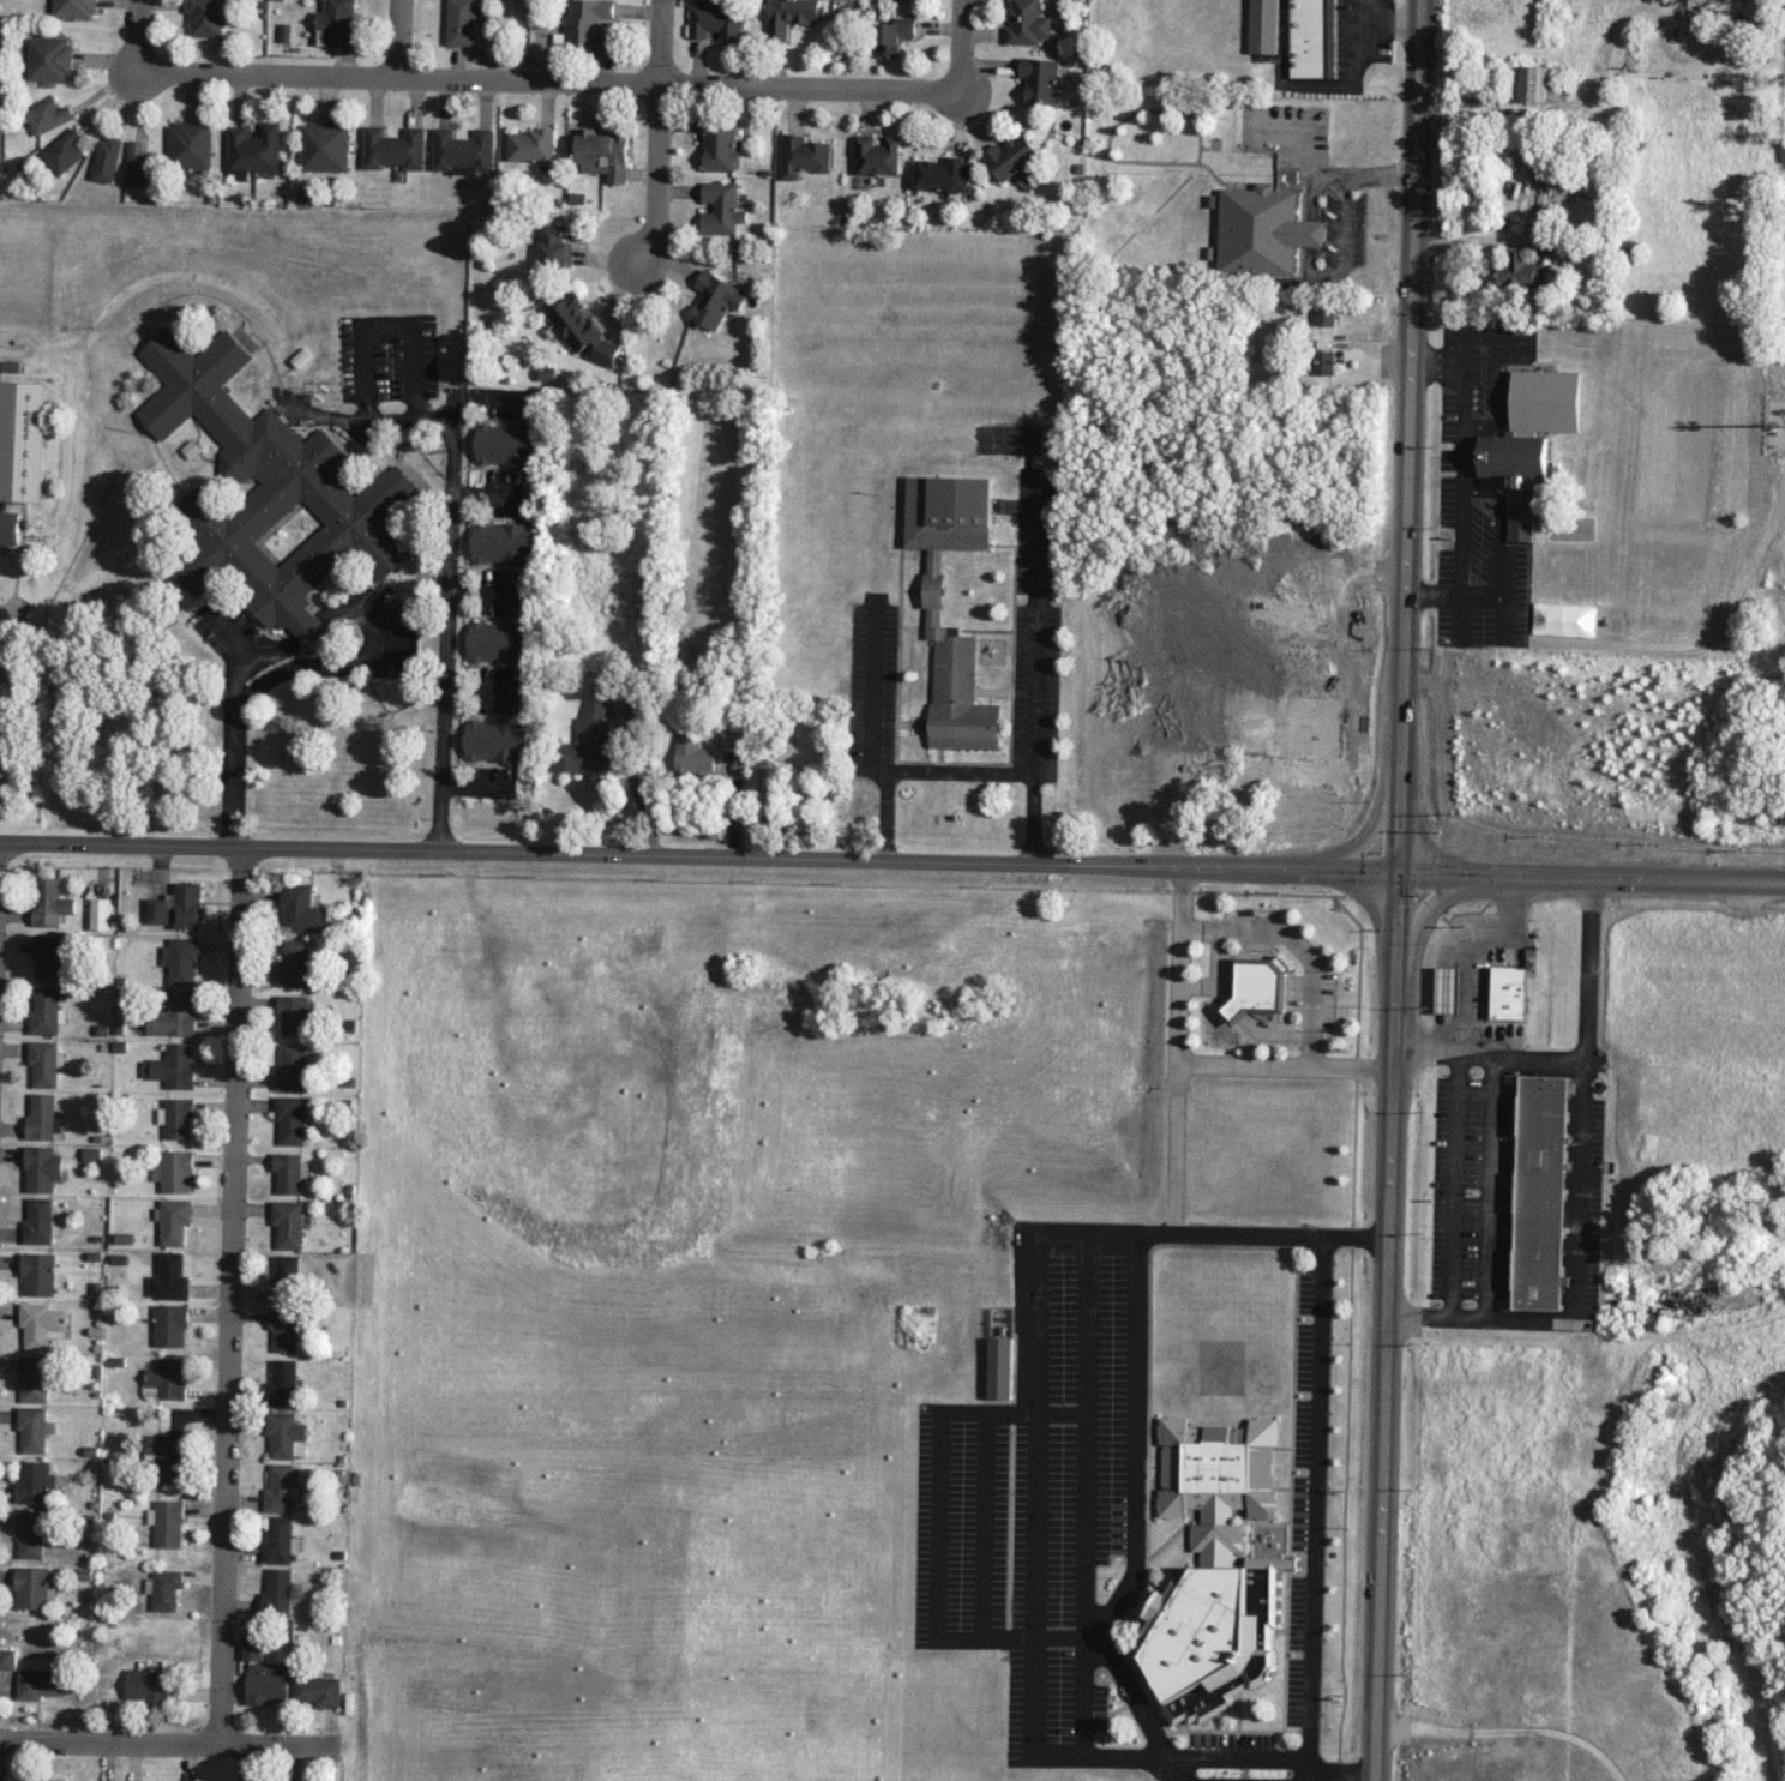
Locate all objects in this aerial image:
building: (1701, 0)
building: (73, 10)
building: (205, 17)
building: (789, 17)
building: (338, 22)
building: (462, 22)
building: (715, 22)
building: (1027, 23)
building: (588, 24)
building: (1263, 26)
building: (894, 35)
road: (138, 36)
road: (401, 37)
building: (1311, 38)
road: (961, 46)
building: (49, 58)
road: (549, 78)
building: (1040, 79)
building: (1535, 83)
building: (47, 115)
road: (655, 134)
building: (190, 144)
building: (530, 145)
building: (719, 145)
building: (324, 146)
building: (393, 148)
building: (462, 149)
building: (253, 150)
building: (65, 151)
building: (602, 154)
building: (877, 155)
building: (1011, 155)
building: (804, 156)
building: (106, 160)
building: (140, 164)
building: (942, 174)
building: (721, 207)
building: (1263, 230)
building: (553, 246)
building: (1523, 271)
building: (715, 299)
building: (1324, 314)
road: (1412, 317)
building: (582, 331)
road: (365, 347)
building: (1323, 362)
building: (1545, 401)
building: (22, 440)
building: (506, 444)
building: (1515, 474)
building: (268, 492)
building: (8, 528)
building: (503, 542)
building: (932, 586)
building: (1254, 602)
road: (446, 624)
road: (1036, 631)
building: (498, 640)
road: (247, 692)
road: (872, 694)
building: (1292, 734)
building: (497, 740)
building: (734, 740)
building: (587, 741)
road: (1401, 752)
building: (693, 753)
road: (960, 770)
road: (698, 854)
traffic signals: (1398, 871)
road: (1591, 874)
building: (49, 901)
building: (178, 905)
building: (302, 909)
building: (100, 913)
road: (1472, 950)
building: (50, 957)
building: (181, 959)
building: (294, 962)
building: (1447, 989)
building: (1507, 992)
building: (44, 1011)
building: (293, 1013)
building: (174, 1016)
road: (1178, 1049)
road: (1489, 1049)
building: (44, 1063)
road: (1285, 1065)
building: (175, 1066)
building: (292, 1067)
building: (41, 1117)
building: (176, 1118)
building: (293, 1119)
building: (42, 1168)
building: (174, 1171)
building: (290, 1172)
road: (1455, 1183)
road: (1489, 1184)
road: (1580, 1189)
building: (1539, 1192)
building: (174, 1220)
building: (38, 1221)
building: (288, 1223)
building: (41, 1274)
building: (169, 1277)
building: (286, 1278)
road: (230, 1294)
building: (42, 1324)
building: (170, 1324)
road: (1386, 1325)
building: (283, 1330)
building: (999, 1367)
building: (34, 1378)
building: (166, 1378)
building: (282, 1383)
building: (31, 1428)
building: (286, 1434)
building: (167, 1456)
building: (35, 1481)
building: (280, 1488)
road: (1033, 1492)
road: (1086, 1494)
road: (1316, 1497)
building: (167, 1522)
road: (1135, 1523)
building: (29, 1534)
building: (280, 1540)
building: (1214, 1568)
building: (32, 1588)
building: (166, 1589)
building: (276, 1592)
building: (252, 1648)
building: (7, 1659)
building: (40, 1683)
building: (266, 1683)
building: (146, 1684)
building: (317, 1690)
road: (168, 1743)
road: (1310, 1775)
building: (1, 1780)

